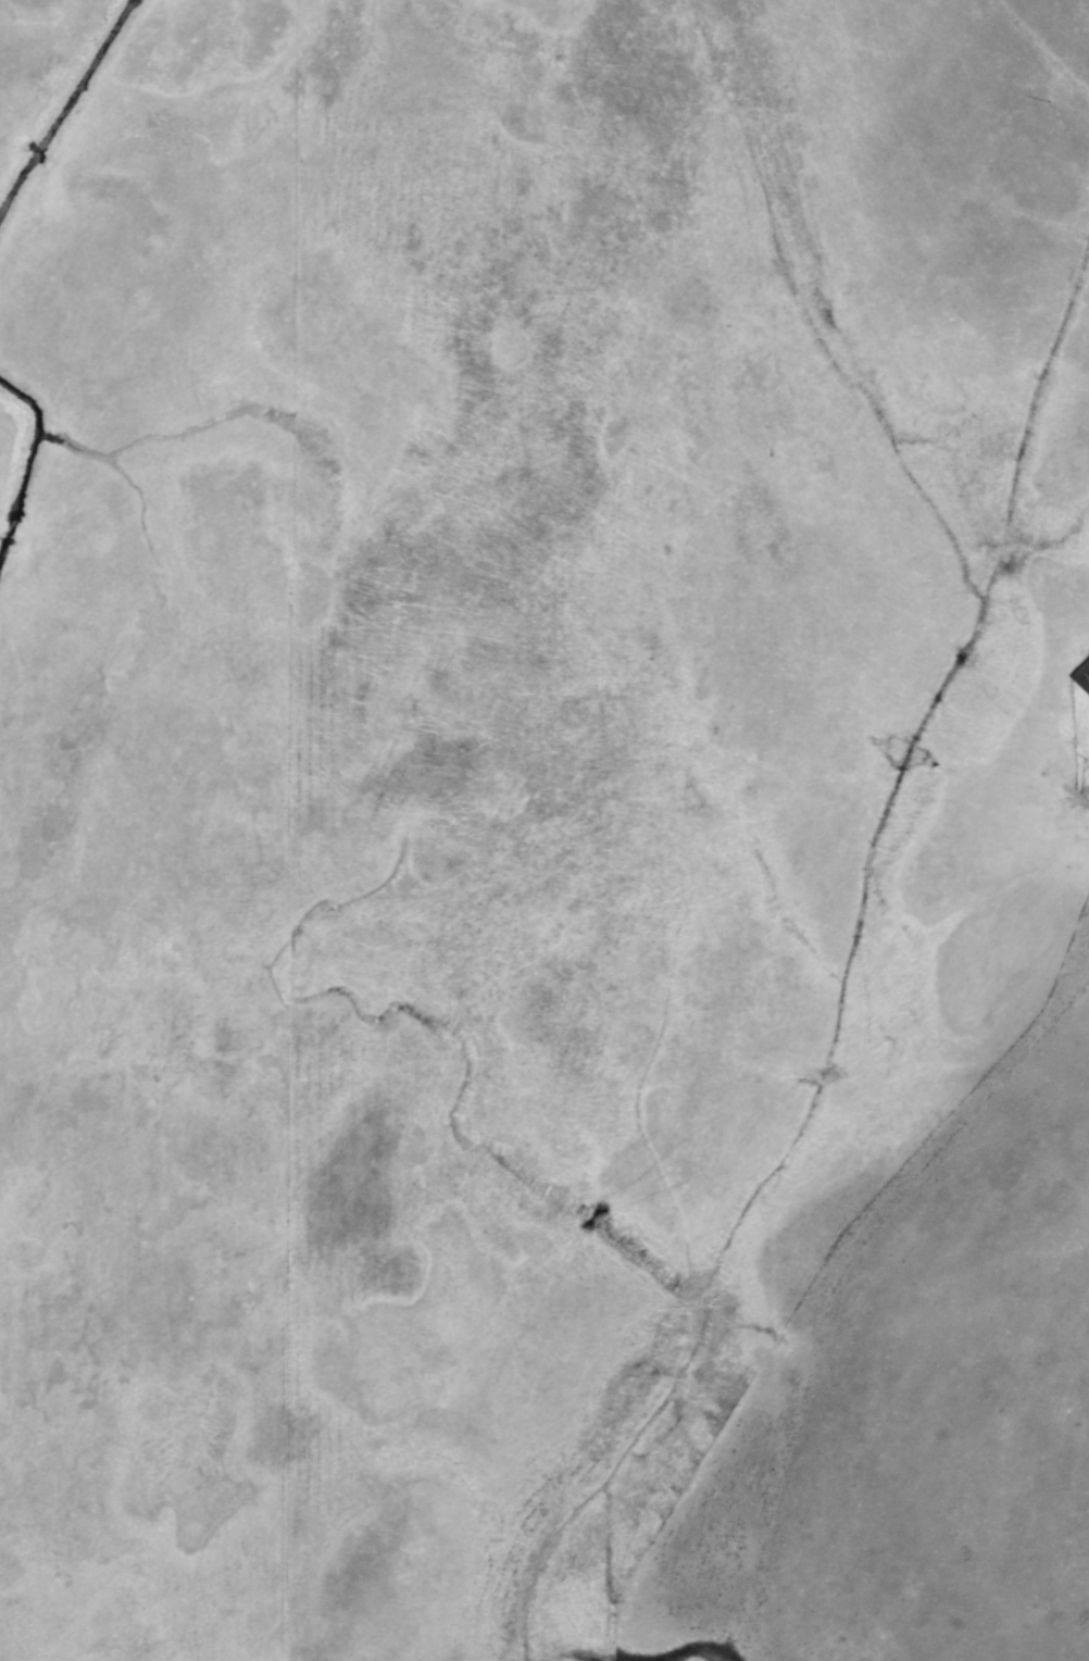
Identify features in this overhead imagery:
crop: (26, 20)
road: (1074, 819)
crop: (543, 864)

